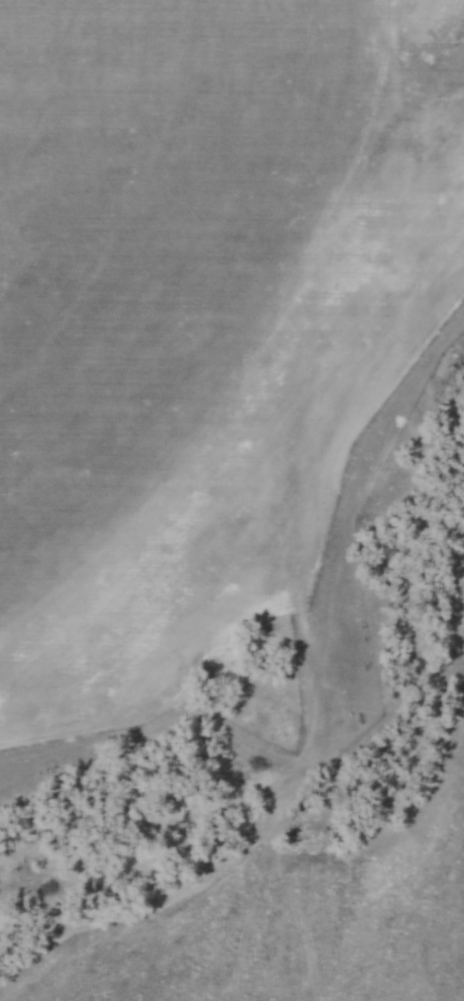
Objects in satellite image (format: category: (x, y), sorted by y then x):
road: (337, 456)

